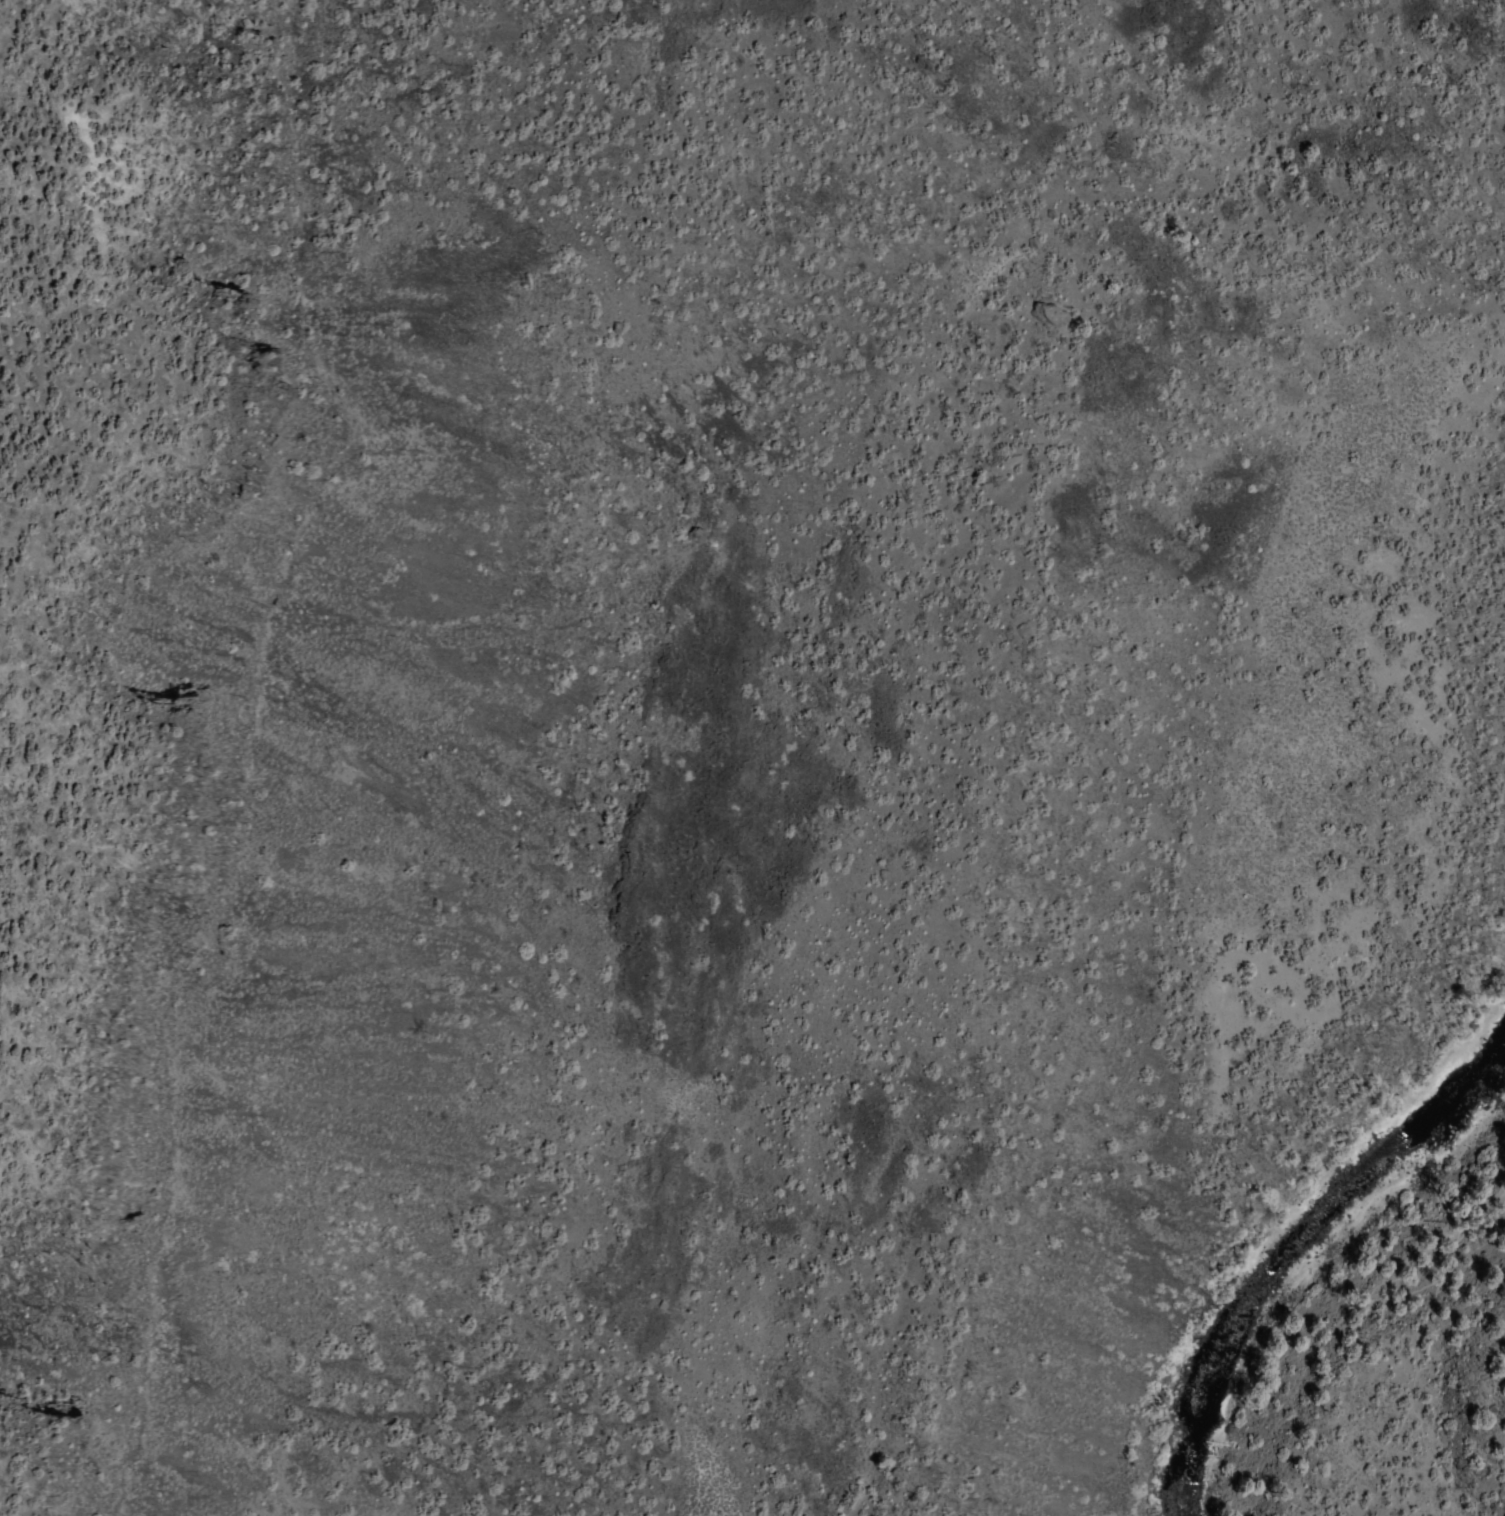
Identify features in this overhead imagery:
river: (1294, 1252)
road: (1318, 1349)
road: (1419, 1358)

